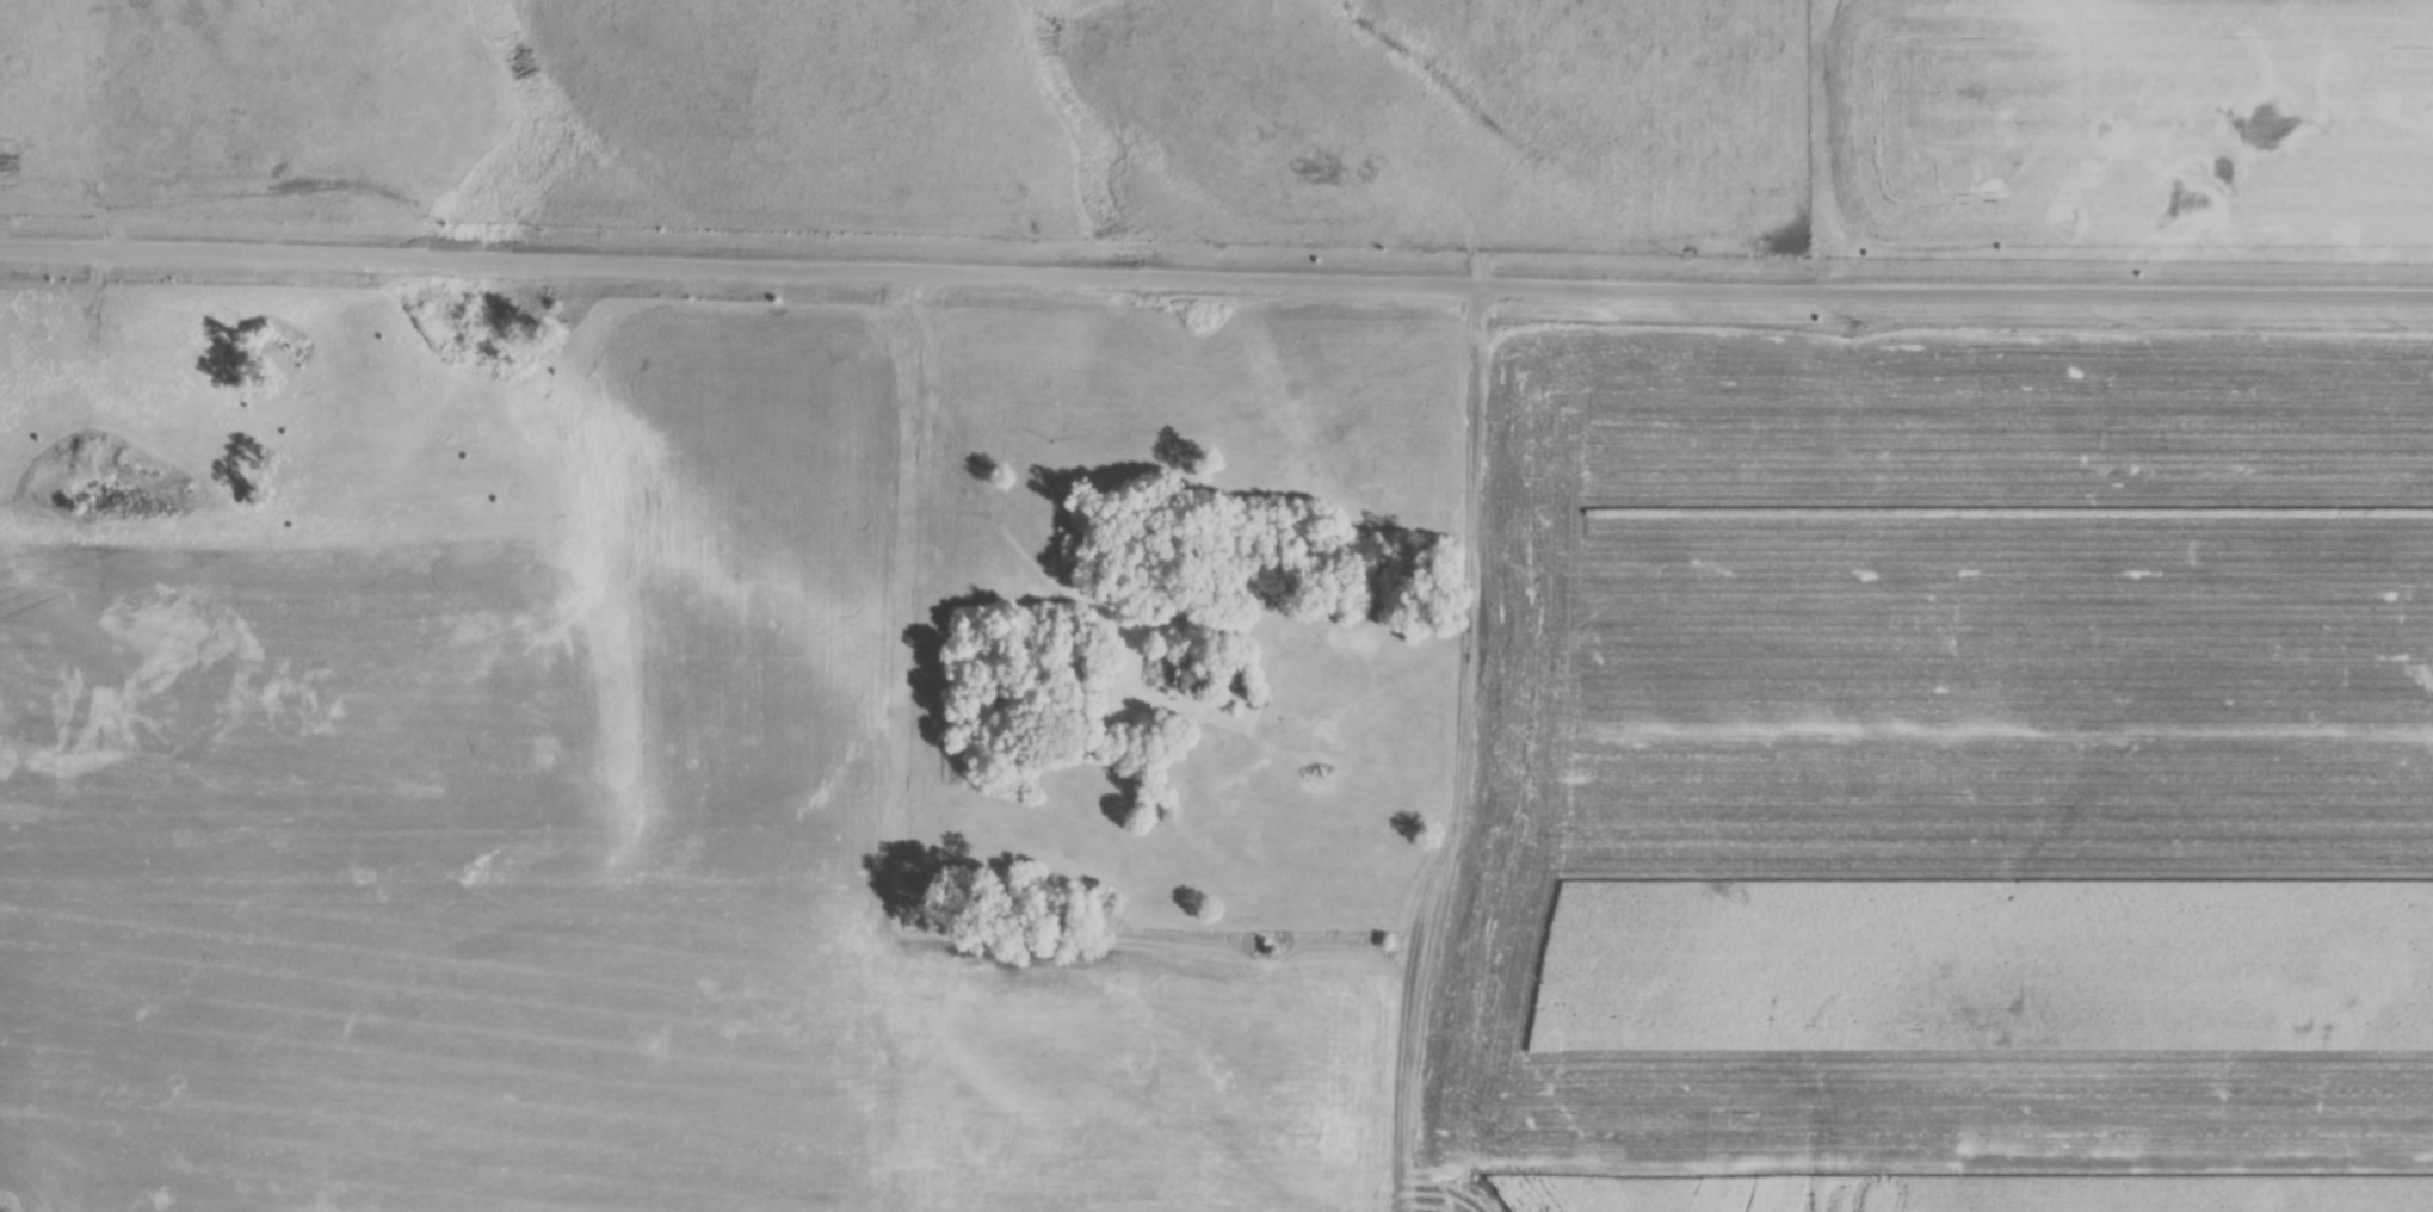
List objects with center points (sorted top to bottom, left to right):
road: (1216, 272)
road: (100, 328)
road: (1116, 620)
building: (1206, 675)
road: (1461, 749)

